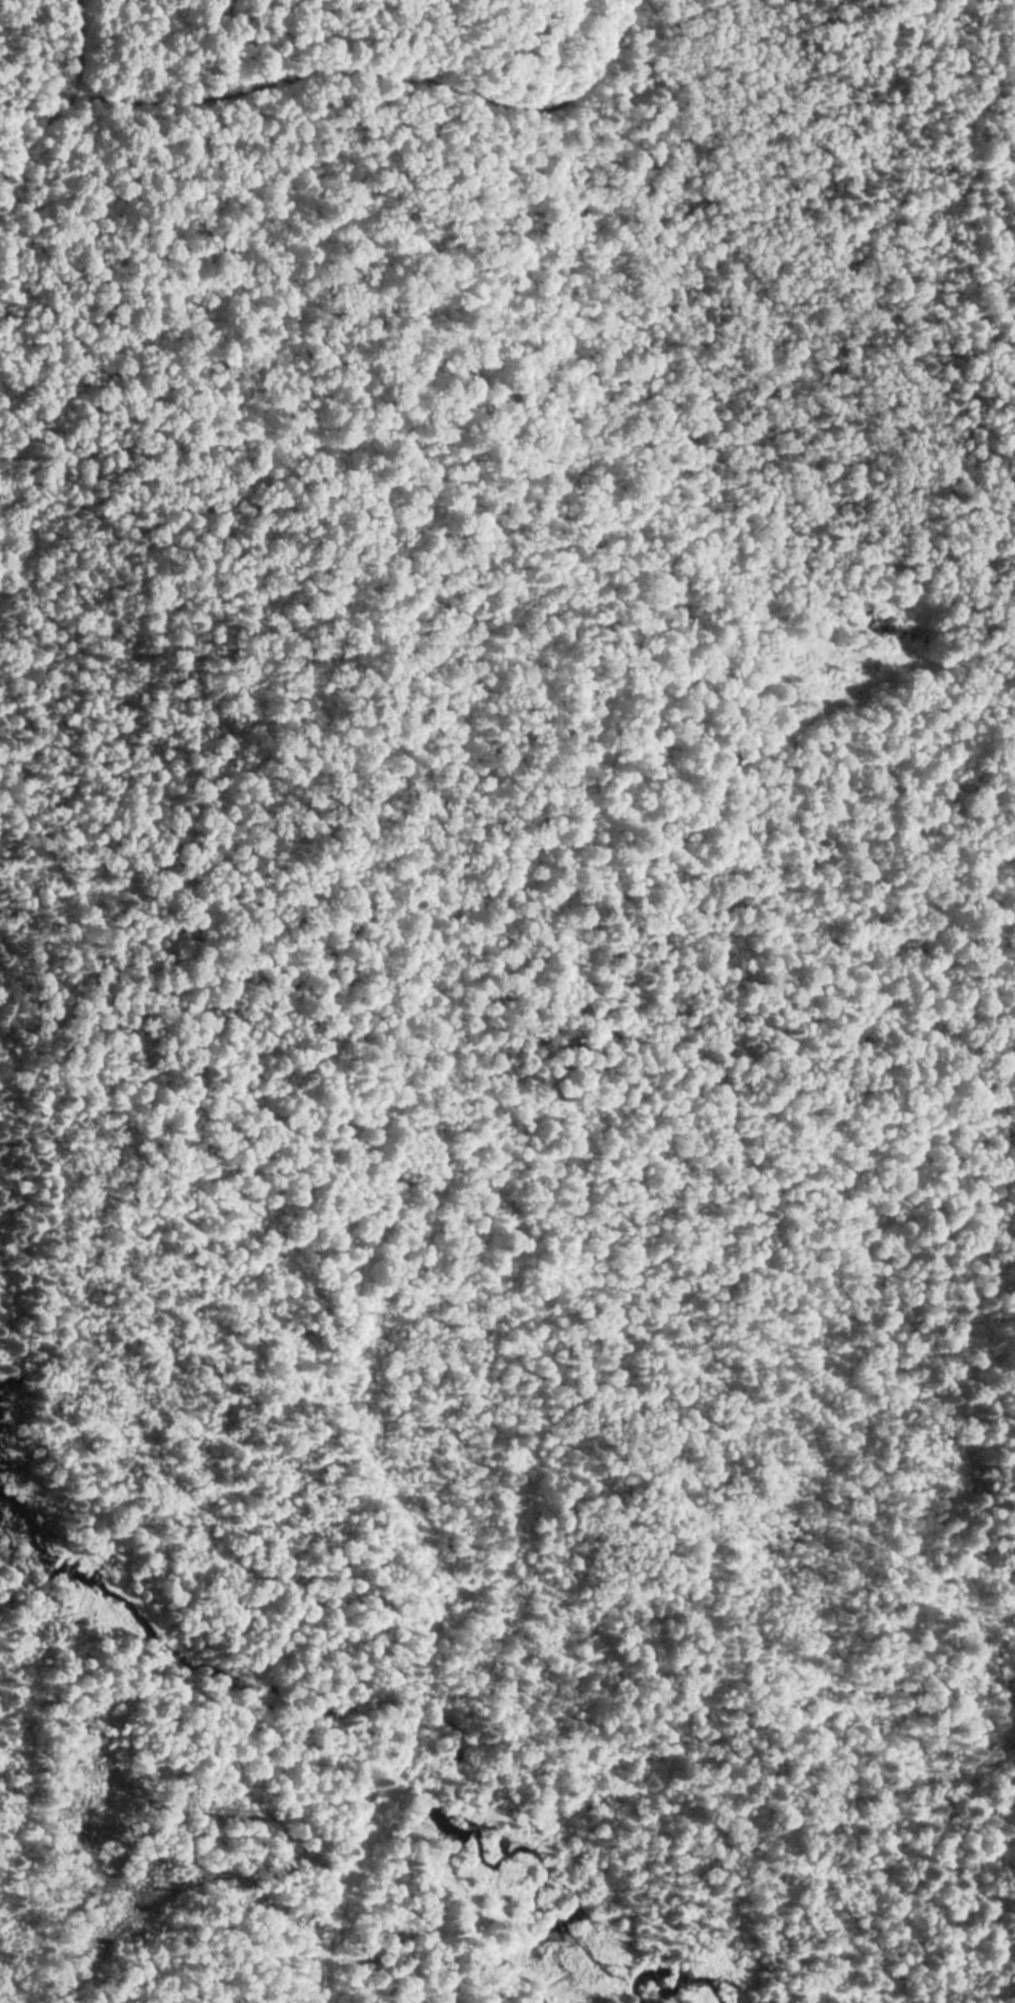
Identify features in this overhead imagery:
building: (878, 624)

